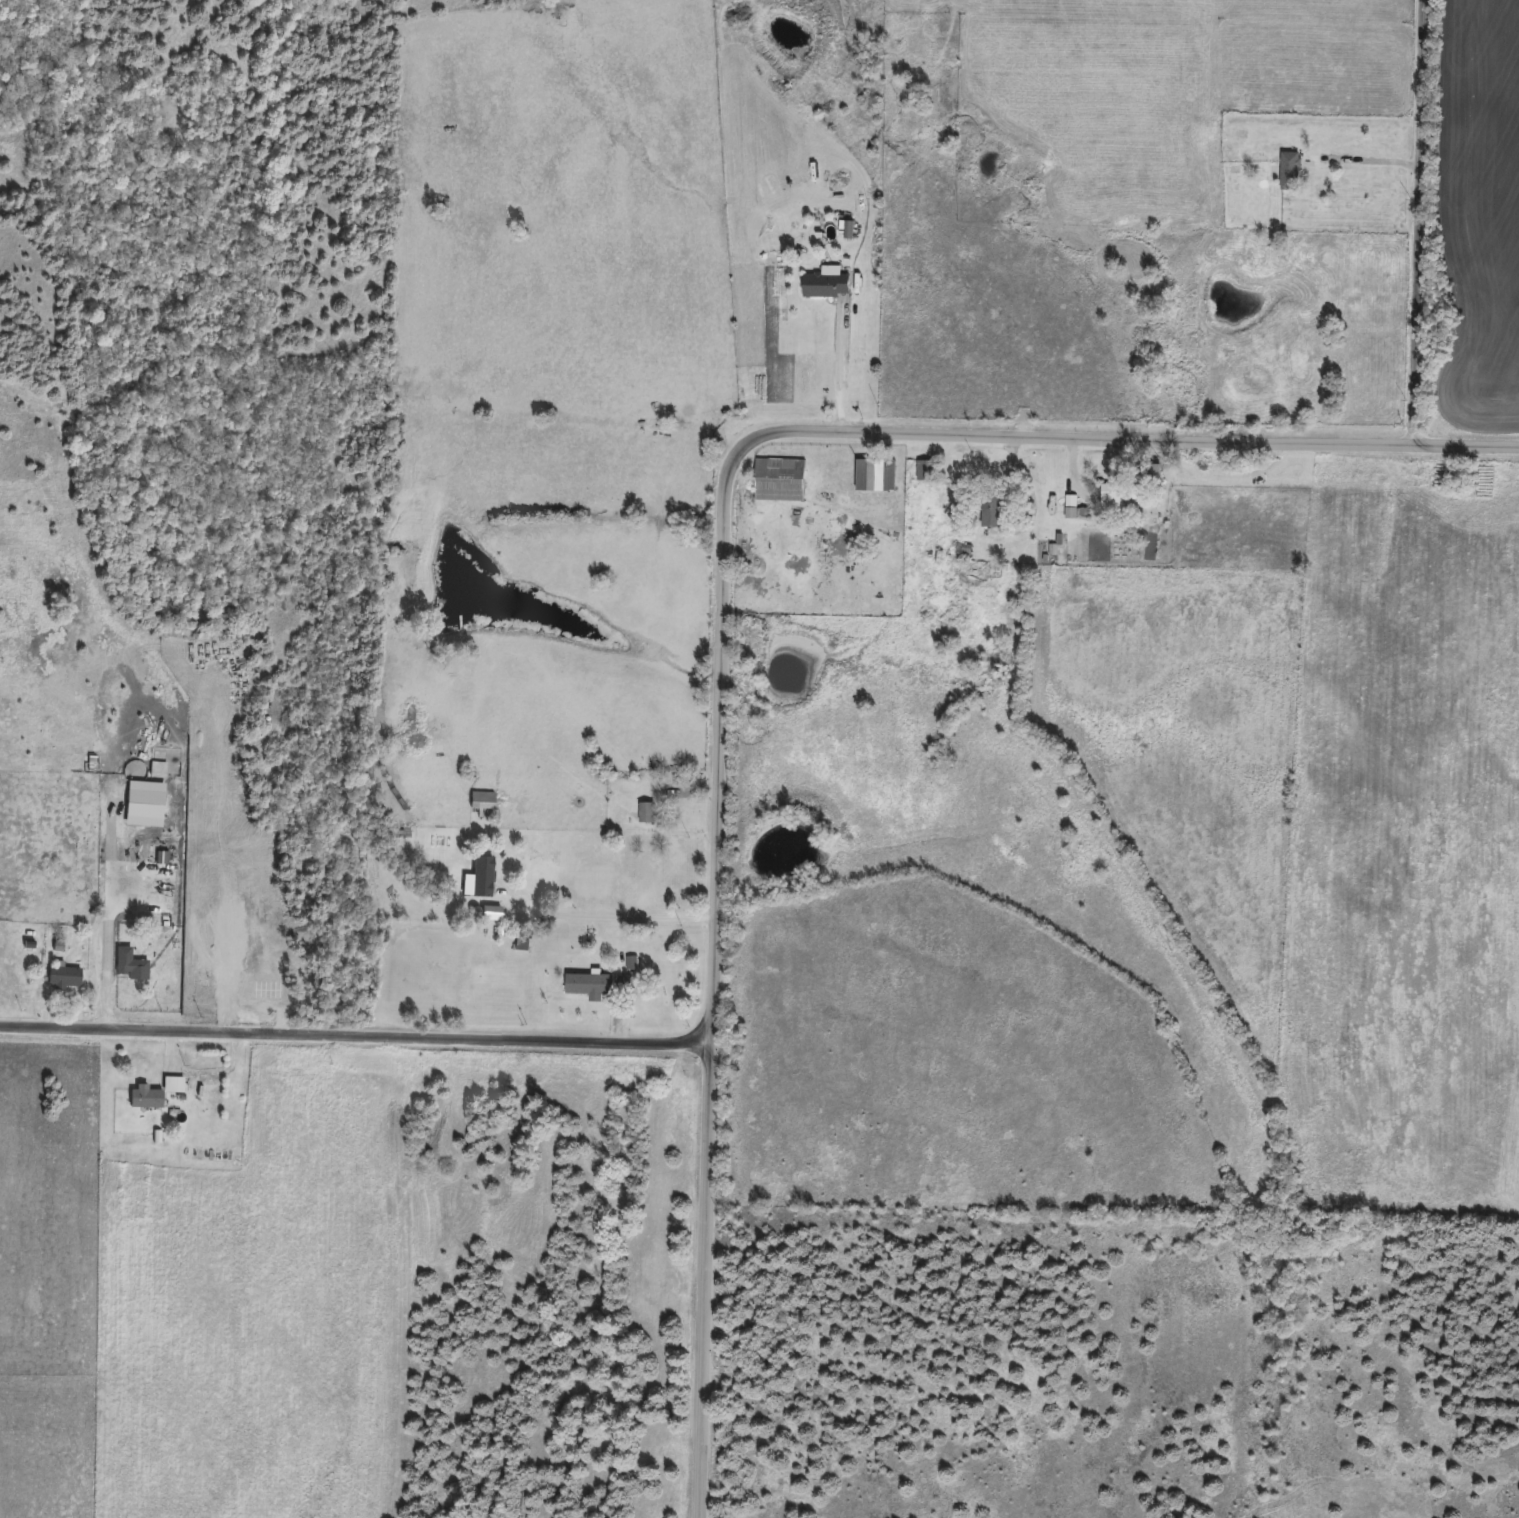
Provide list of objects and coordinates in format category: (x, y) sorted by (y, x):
road: (1368, 161)
building: (1288, 172)
road: (1416, 221)
building: (824, 285)
road: (840, 369)
building: (922, 470)
building: (874, 475)
road: (1073, 475)
building: (778, 480)
road: (1013, 483)
building: (1116, 496)
building: (991, 509)
road: (726, 591)
building: (481, 801)
building: (645, 813)
building: (480, 877)
road: (613, 918)
building: (128, 965)
building: (221, 971)
building: (62, 978)
building: (589, 985)
road: (355, 1035)
building: (154, 1094)

